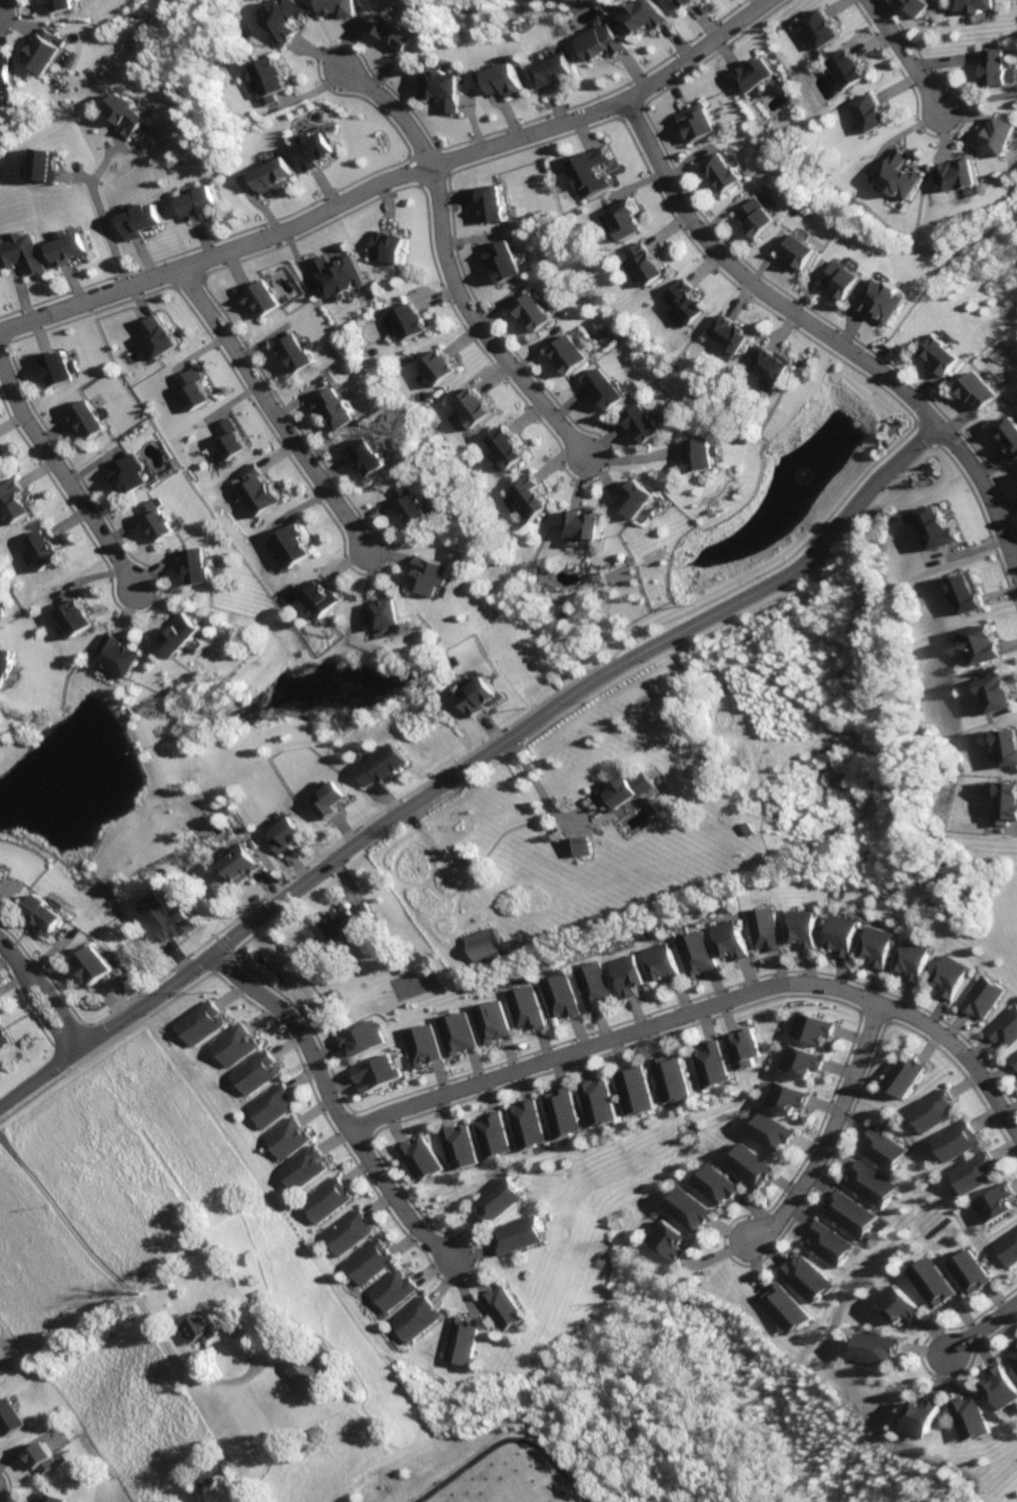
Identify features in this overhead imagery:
building: (688, 3)
building: (71, 5)
building: (915, 5)
building: (973, 5)
building: (346, 7)
road: (1, 13)
building: (646, 15)
building: (290, 20)
building: (819, 28)
building: (398, 31)
building: (603, 42)
building: (50, 51)
road: (901, 57)
building: (995, 67)
building: (845, 68)
building: (553, 71)
building: (9, 73)
building: (752, 73)
building: (272, 79)
building: (505, 79)
building: (0, 86)
building: (443, 87)
road: (975, 99)
road: (629, 110)
building: (867, 112)
building: (129, 113)
building: (695, 120)
building: (999, 136)
building: (318, 149)
road: (106, 157)
building: (47, 165)
building: (722, 171)
building: (587, 172)
building: (275, 174)
building: (897, 174)
building: (958, 174)
road: (77, 177)
road: (389, 179)
building: (203, 202)
building: (488, 202)
building: (758, 217)
building: (621, 219)
building: (143, 220)
road: (110, 237)
building: (386, 246)
building: (71, 248)
building: (27, 253)
building: (801, 253)
building: (502, 261)
building: (644, 262)
road: (445, 267)
road: (940, 273)
building: (337, 274)
building: (845, 279)
road: (744, 295)
building: (261, 298)
building: (886, 299)
building: (685, 301)
building: (532, 312)
road: (831, 321)
building: (404, 322)
road: (826, 332)
building: (729, 333)
building: (158, 338)
building: (294, 353)
building: (571, 354)
building: (953, 355)
building: (771, 365)
building: (438, 366)
building: (58, 367)
building: (190, 387)
building: (987, 389)
building: (605, 390)
building: (472, 407)
building: (334, 408)
road: (270, 409)
building: (84, 418)
building: (641, 422)
road: (933, 433)
road: (904, 434)
building: (1012, 435)
building: (228, 439)
building: (505, 447)
building: (701, 454)
building: (367, 457)
road: (636, 458)
building: (0, 465)
building: (0, 466)
building: (127, 473)
fountain: (801, 475)
road: (61, 479)
road: (874, 491)
building: (258, 492)
building: (529, 498)
building: (638, 498)
building: (14, 501)
building: (411, 505)
building: (161, 520)
building: (582, 524)
road: (986, 527)
building: (940, 529)
building: (289, 546)
building: (46, 549)
building: (198, 564)
building: (431, 574)
building: (967, 593)
building: (321, 597)
building: (384, 613)
building: (77, 617)
building: (184, 635)
building: (976, 645)
building: (118, 655)
building: (8, 665)
building: (995, 691)
building: (484, 696)
road: (511, 726)
road: (492, 728)
building: (1008, 744)
building: (389, 764)
building: (630, 790)
road: (390, 797)
building: (337, 799)
road: (551, 800)
building: (1007, 804)
road: (392, 819)
road: (350, 829)
road: (569, 830)
building: (293, 834)
building: (577, 846)
building: (245, 863)
road: (298, 864)
building: (3, 876)
road: (273, 883)
road: (349, 883)
building: (51, 914)
building: (169, 916)
building: (349, 921)
building: (803, 928)
building: (764, 929)
building: (844, 934)
road: (218, 937)
building: (727, 939)
road: (243, 944)
building: (879, 945)
road: (225, 946)
building: (484, 948)
building: (692, 952)
road: (233, 954)
road: (15, 955)
road: (179, 956)
building: (914, 959)
road: (222, 961)
building: (659, 963)
building: (98, 967)
road: (212, 971)
building: (623, 975)
building: (950, 975)
park: (414, 983)
building: (589, 985)
road: (706, 991)
building: (555, 995)
building: (981, 997)
road: (57, 998)
road: (705, 1005)
building: (521, 1007)
road: (43, 1009)
road: (869, 1015)
building: (486, 1021)
building: (200, 1022)
road: (304, 1024)
building: (809, 1027)
building: (1005, 1027)
building: (453, 1033)
road: (71, 1034)
building: (4, 1036)
building: (359, 1037)
road: (76, 1041)
building: (233, 1044)
road: (104, 1045)
building: (419, 1045)
road: (613, 1048)
building: (737, 1048)
road: (61, 1055)
building: (798, 1060)
building: (1012, 1061)
building: (706, 1064)
road: (68, 1068)
building: (253, 1071)
building: (375, 1072)
building: (902, 1074)
road: (963, 1076)
building: (668, 1077)
building: (634, 1089)
building: (785, 1096)
building: (598, 1100)
building: (270, 1105)
road: (335, 1105)
building: (933, 1110)
building: (564, 1112)
road: (353, 1113)
building: (530, 1124)
road: (361, 1126)
building: (770, 1131)
road: (829, 1131)
building: (496, 1135)
road: (372, 1136)
building: (289, 1137)
building: (956, 1141)
building: (463, 1145)
building: (882, 1147)
building: (424, 1159)
building: (747, 1164)
building: (305, 1166)
building: (972, 1172)
building: (871, 1182)
building: (711, 1183)
building: (329, 1200)
building: (504, 1200)
building: (992, 1202)
building: (682, 1208)
building: (851, 1213)
road: (398, 1218)
building: (351, 1231)
building: (527, 1234)
building: (664, 1239)
building: (829, 1243)
building: (1007, 1247)
road: (731, 1259)
building: (374, 1261)
building: (967, 1272)
building: (806, 1277)
building: (930, 1282)
building: (398, 1289)
road: (127, 1293)
building: (897, 1304)
building: (512, 1308)
building: (786, 1308)
building: (421, 1319)
building: (197, 1328)
road: (979, 1329)
building: (467, 1341)
building: (875, 1347)
building: (1013, 1354)
road: (919, 1360)
building: (317, 1368)
building: (999, 1387)
building: (8, 1417)
building: (919, 1417)
building: (967, 1417)
road: (505, 1441)
building: (43, 1459)
building: (211, 1473)
building: (52, 1498)
road: (1016, 1501)

